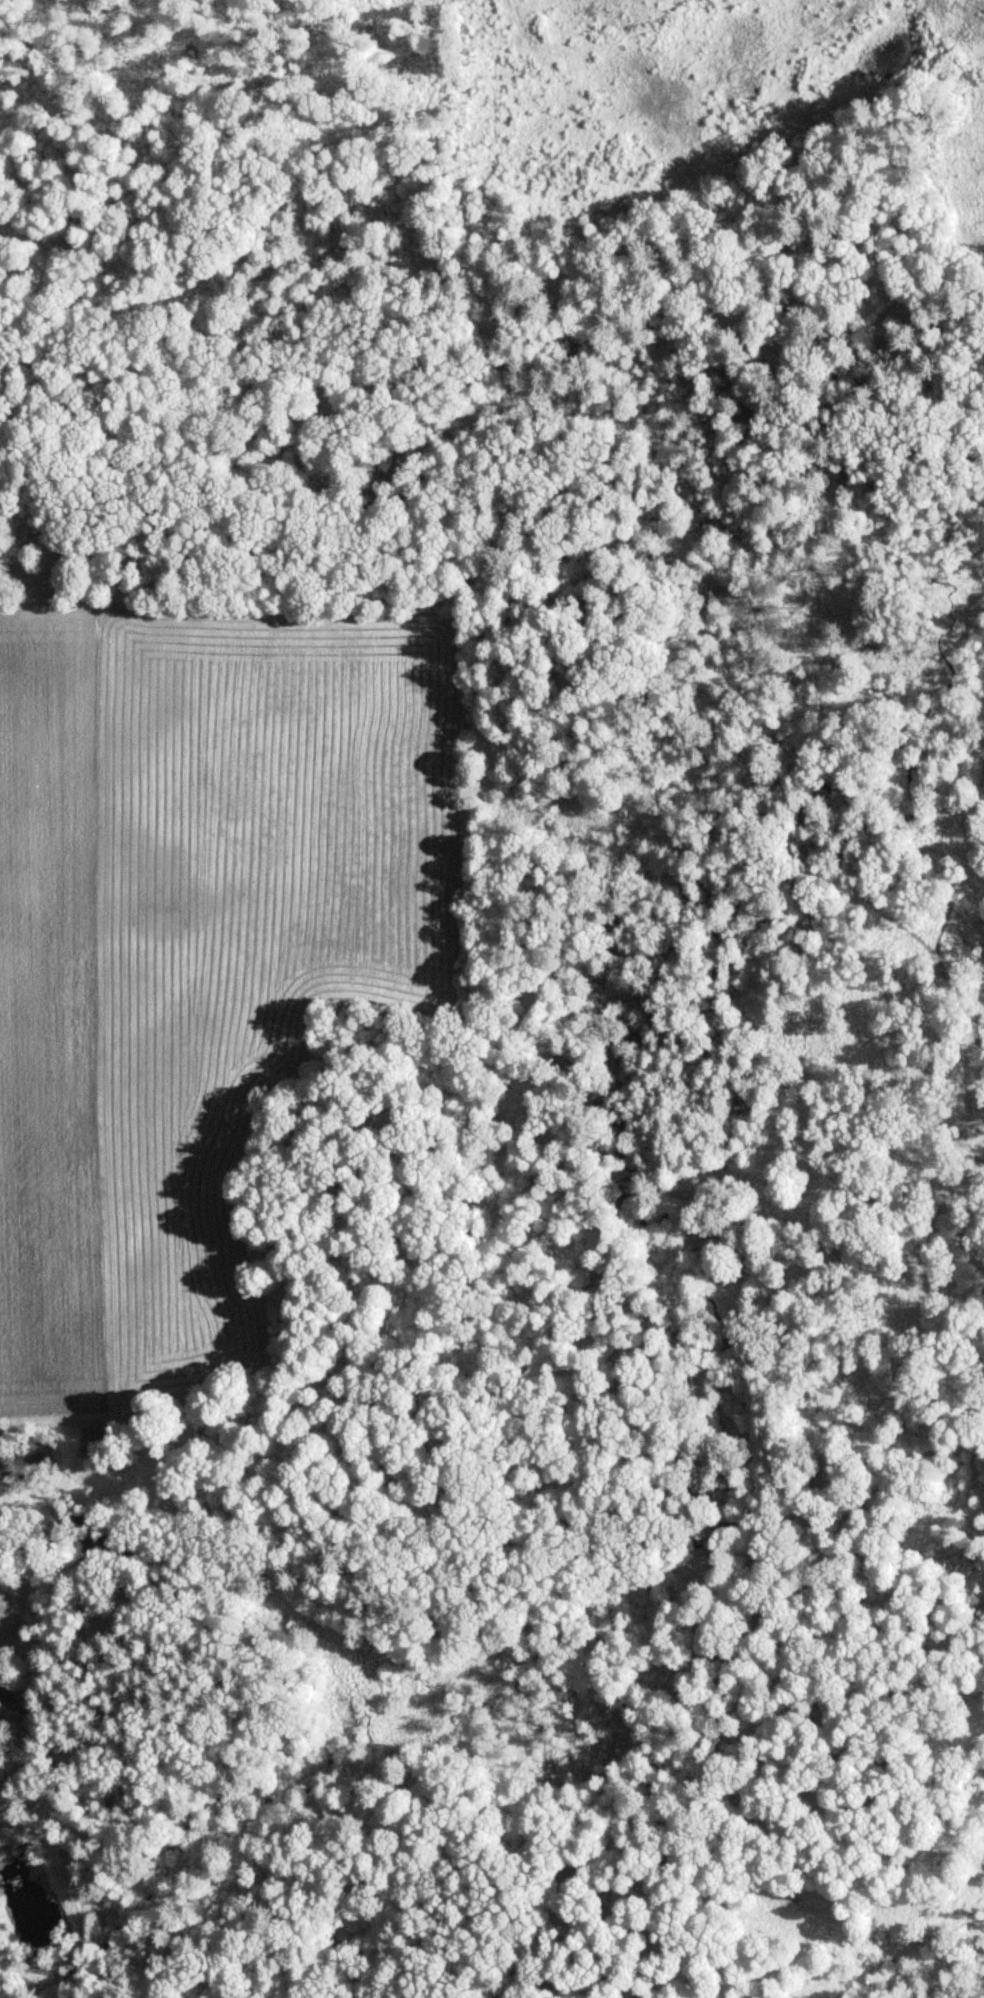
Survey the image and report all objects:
road: (361, 1548)

